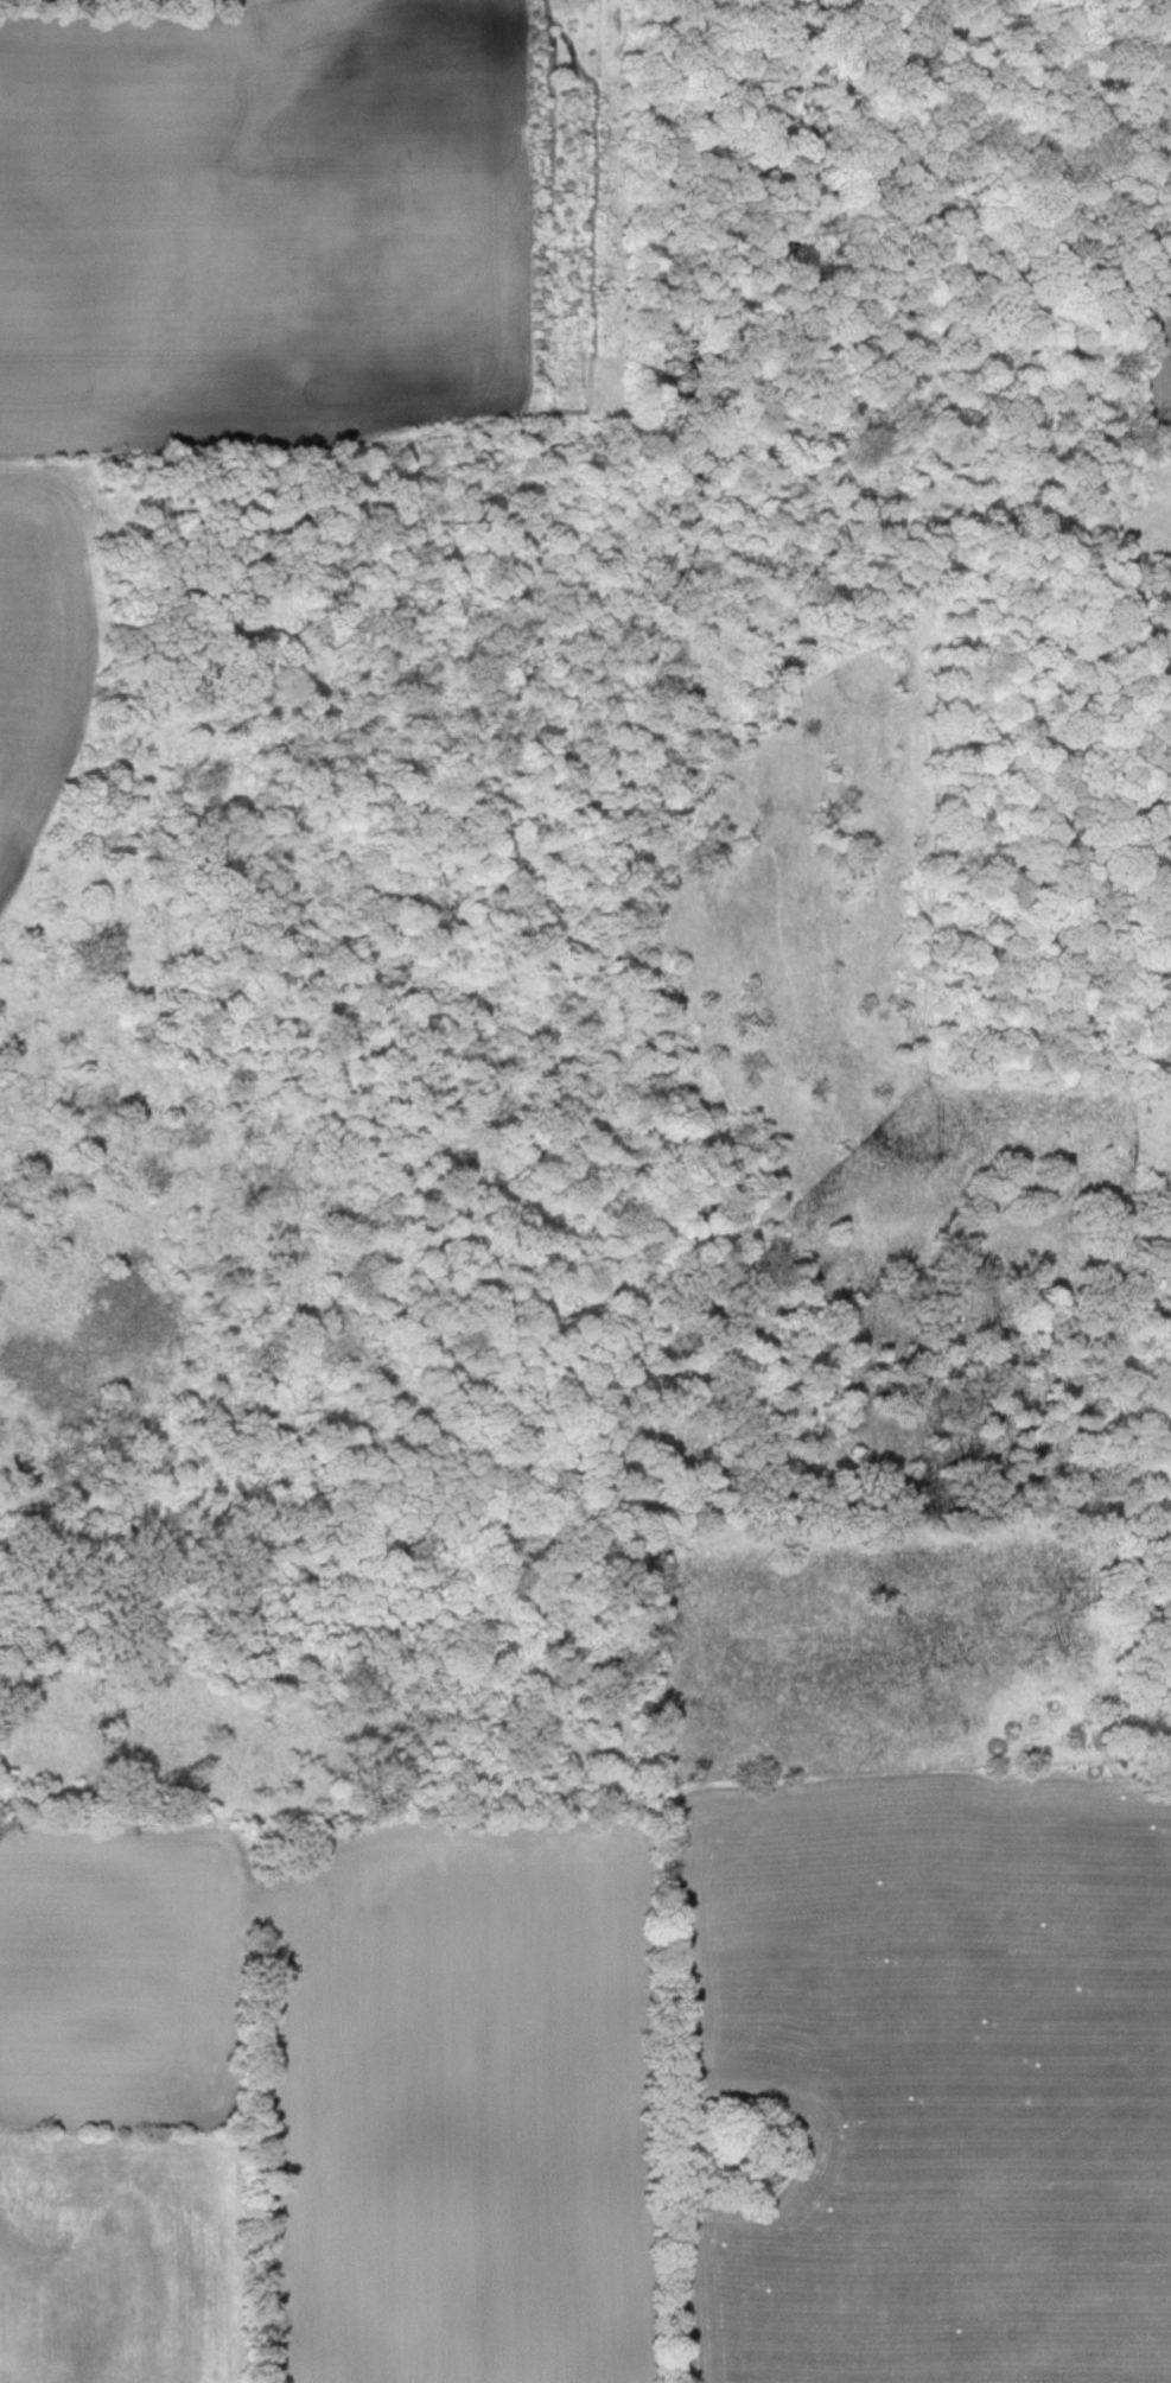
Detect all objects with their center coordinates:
road: (685, 2295)

